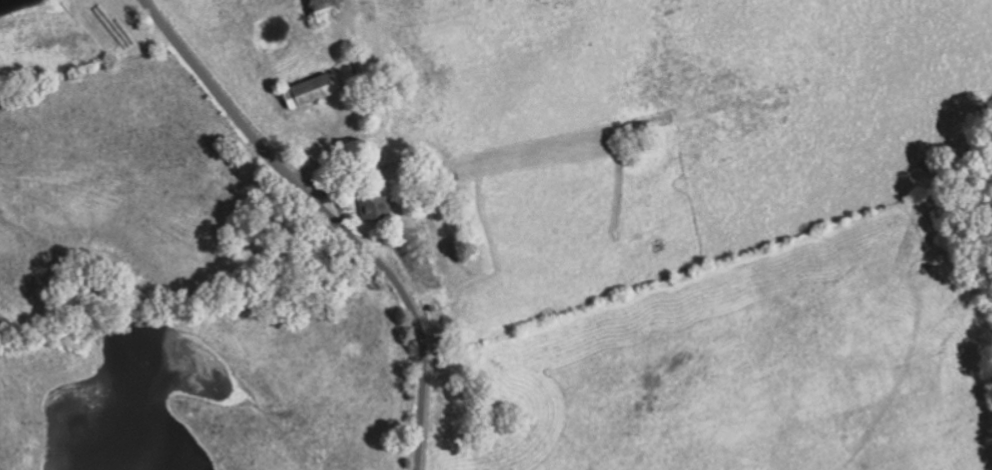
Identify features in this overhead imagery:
building: (312, 90)
building: (376, 207)
road: (327, 217)

